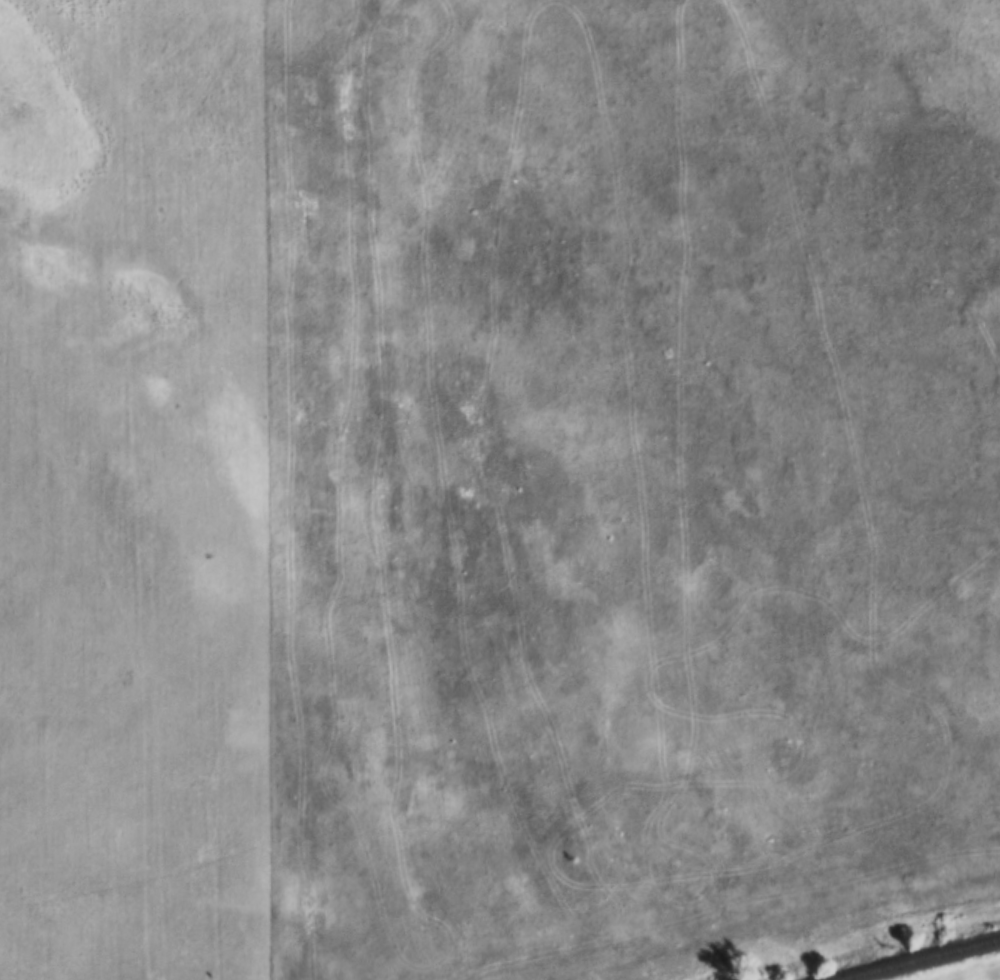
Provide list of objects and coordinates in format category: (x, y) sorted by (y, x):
railway: (920, 960)

